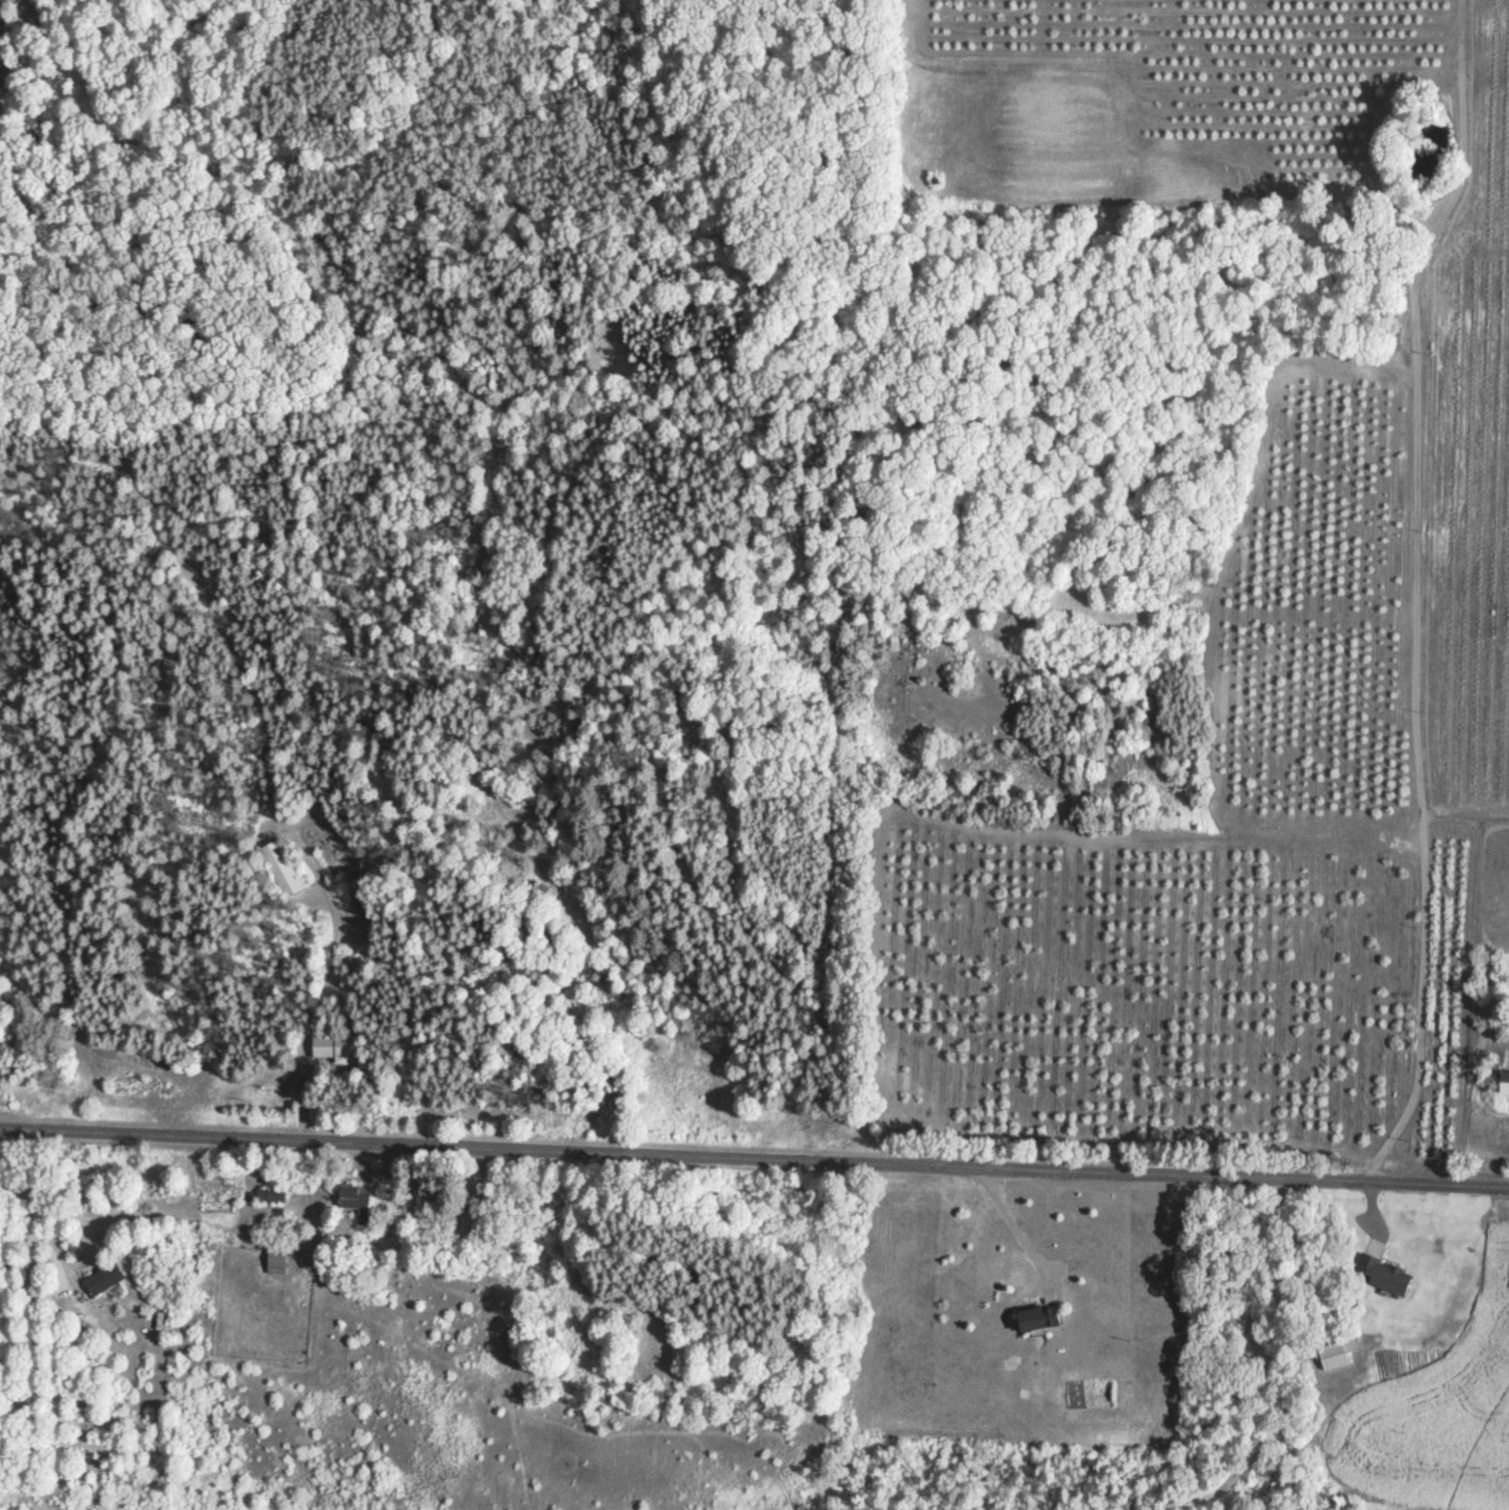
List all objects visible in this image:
building: (1428, 718)
building: (278, 869)
building: (338, 1053)
building: (1500, 1084)
road: (754, 1150)
building: (265, 1197)
building: (355, 1203)
building: (273, 1264)
building: (1380, 1276)
building: (98, 1281)
building: (1029, 1320)
building: (1330, 1356)

